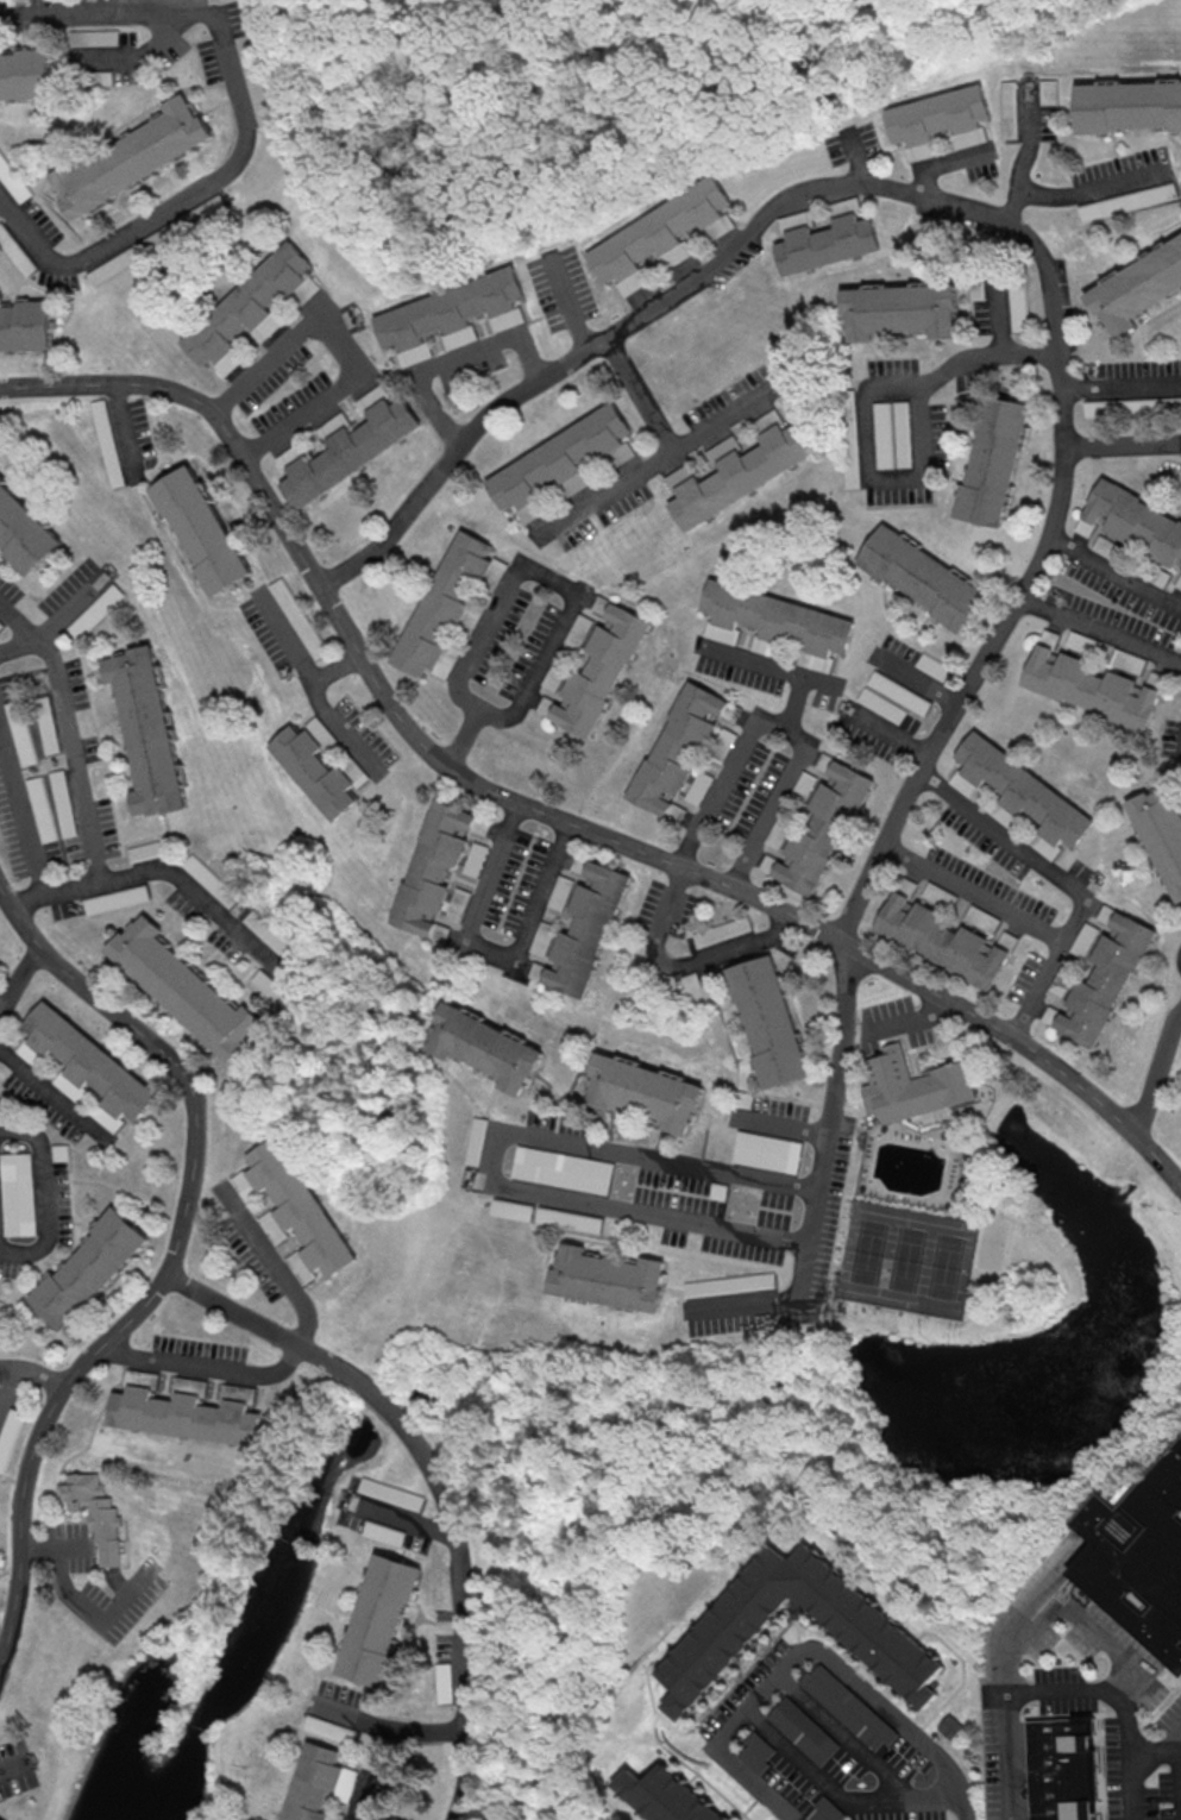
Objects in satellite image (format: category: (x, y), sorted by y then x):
building: (94, 37)
road: (136, 63)
building: (27, 73)
building: (1049, 92)
building: (1127, 105)
building: (1010, 108)
building: (938, 114)
road: (245, 130)
road: (1034, 140)
building: (131, 156)
road: (856, 158)
road: (947, 163)
building: (2, 164)
road: (1081, 192)
building: (1127, 201)
building: (717, 227)
building: (657, 230)
building: (828, 243)
building: (19, 258)
building: (1137, 285)
building: (246, 301)
road: (570, 307)
building: (450, 308)
building: (899, 308)
road: (999, 313)
building: (26, 325)
road: (503, 339)
road: (347, 347)
road: (1064, 356)
road: (988, 358)
building: (227, 362)
road: (1123, 381)
road: (640, 396)
building: (1164, 404)
road: (208, 409)
road: (125, 432)
building: (900, 433)
building: (881, 434)
building: (105, 443)
road: (1124, 448)
building: (348, 451)
building: (290, 454)
building: (559, 458)
building: (990, 459)
road: (657, 463)
building: (737, 475)
road: (919, 491)
building: (1135, 519)
building: (199, 529)
building: (23, 534)
road: (532, 567)
road: (1118, 571)
building: (919, 578)
building: (444, 602)
road: (71, 610)
building: (90, 610)
building: (775, 616)
building: (299, 619)
road: (343, 620)
road: (19, 623)
road: (1103, 629)
road: (285, 635)
road: (19, 648)
road: (337, 666)
building: (601, 670)
road: (774, 670)
road: (921, 679)
building: (1092, 686)
building: (890, 697)
road: (798, 707)
building: (42, 723)
road: (343, 727)
building: (143, 730)
road: (785, 730)
building: (17, 732)
road: (894, 733)
building: (677, 746)
road: (1180, 748)
road: (73, 761)
building: (313, 771)
building: (1022, 791)
building: (59, 802)
building: (38, 808)
road: (23, 817)
building: (824, 827)
building: (1161, 828)
building: (142, 849)
building: (432, 867)
road: (167, 873)
building: (207, 879)
road: (1070, 885)
road: (980, 896)
building: (115, 897)
road: (771, 904)
building: (588, 929)
building: (723, 930)
building: (265, 931)
building: (942, 940)
road: (492, 948)
road: (686, 969)
road: (18, 978)
building: (1105, 978)
building: (182, 989)
road: (1, 1000)
building: (767, 1022)
road: (911, 1022)
building: (483, 1046)
building: (88, 1061)
road: (1160, 1079)
building: (912, 1086)
building: (642, 1091)
road: (55, 1096)
road: (784, 1130)
building: (473, 1141)
building: (767, 1151)
road: (654, 1162)
building: (560, 1169)
building: (15, 1193)
road: (45, 1199)
building: (299, 1206)
building: (511, 1209)
road: (643, 1217)
building: (568, 1219)
park: (994, 1243)
road: (171, 1254)
park: (907, 1259)
building: (88, 1266)
building: (609, 1279)
building: (729, 1284)
road: (749, 1312)
road: (293, 1357)
road: (32, 1372)
road: (6, 1383)
building: (187, 1416)
building: (10, 1435)
road: (436, 1479)
building: (394, 1493)
building: (98, 1515)
road: (400, 1515)
building: (385, 1532)
road: (57, 1548)
building: (1139, 1559)
road: (1063, 1598)
road: (95, 1615)
building: (383, 1620)
building: (869, 1630)
parking lot: (1099, 1661)
road: (1062, 1688)
building: (844, 1706)
building: (320, 1725)
road: (388, 1725)
building: (947, 1726)
building: (800, 1730)
road: (907, 1730)
road: (731, 1731)
road: (1170, 1736)
road: (848, 1743)
road: (1151, 1747)
building: (754, 1752)
road: (15, 1764)
road: (1180, 1764)
building: (1060, 1770)
parking lot: (1001, 1772)
parking lot: (1136, 1777)
building: (316, 1782)
building: (666, 1796)
road: (365, 1797)
road: (840, 1801)
building: (823, 1810)
building: (0, 1819)

